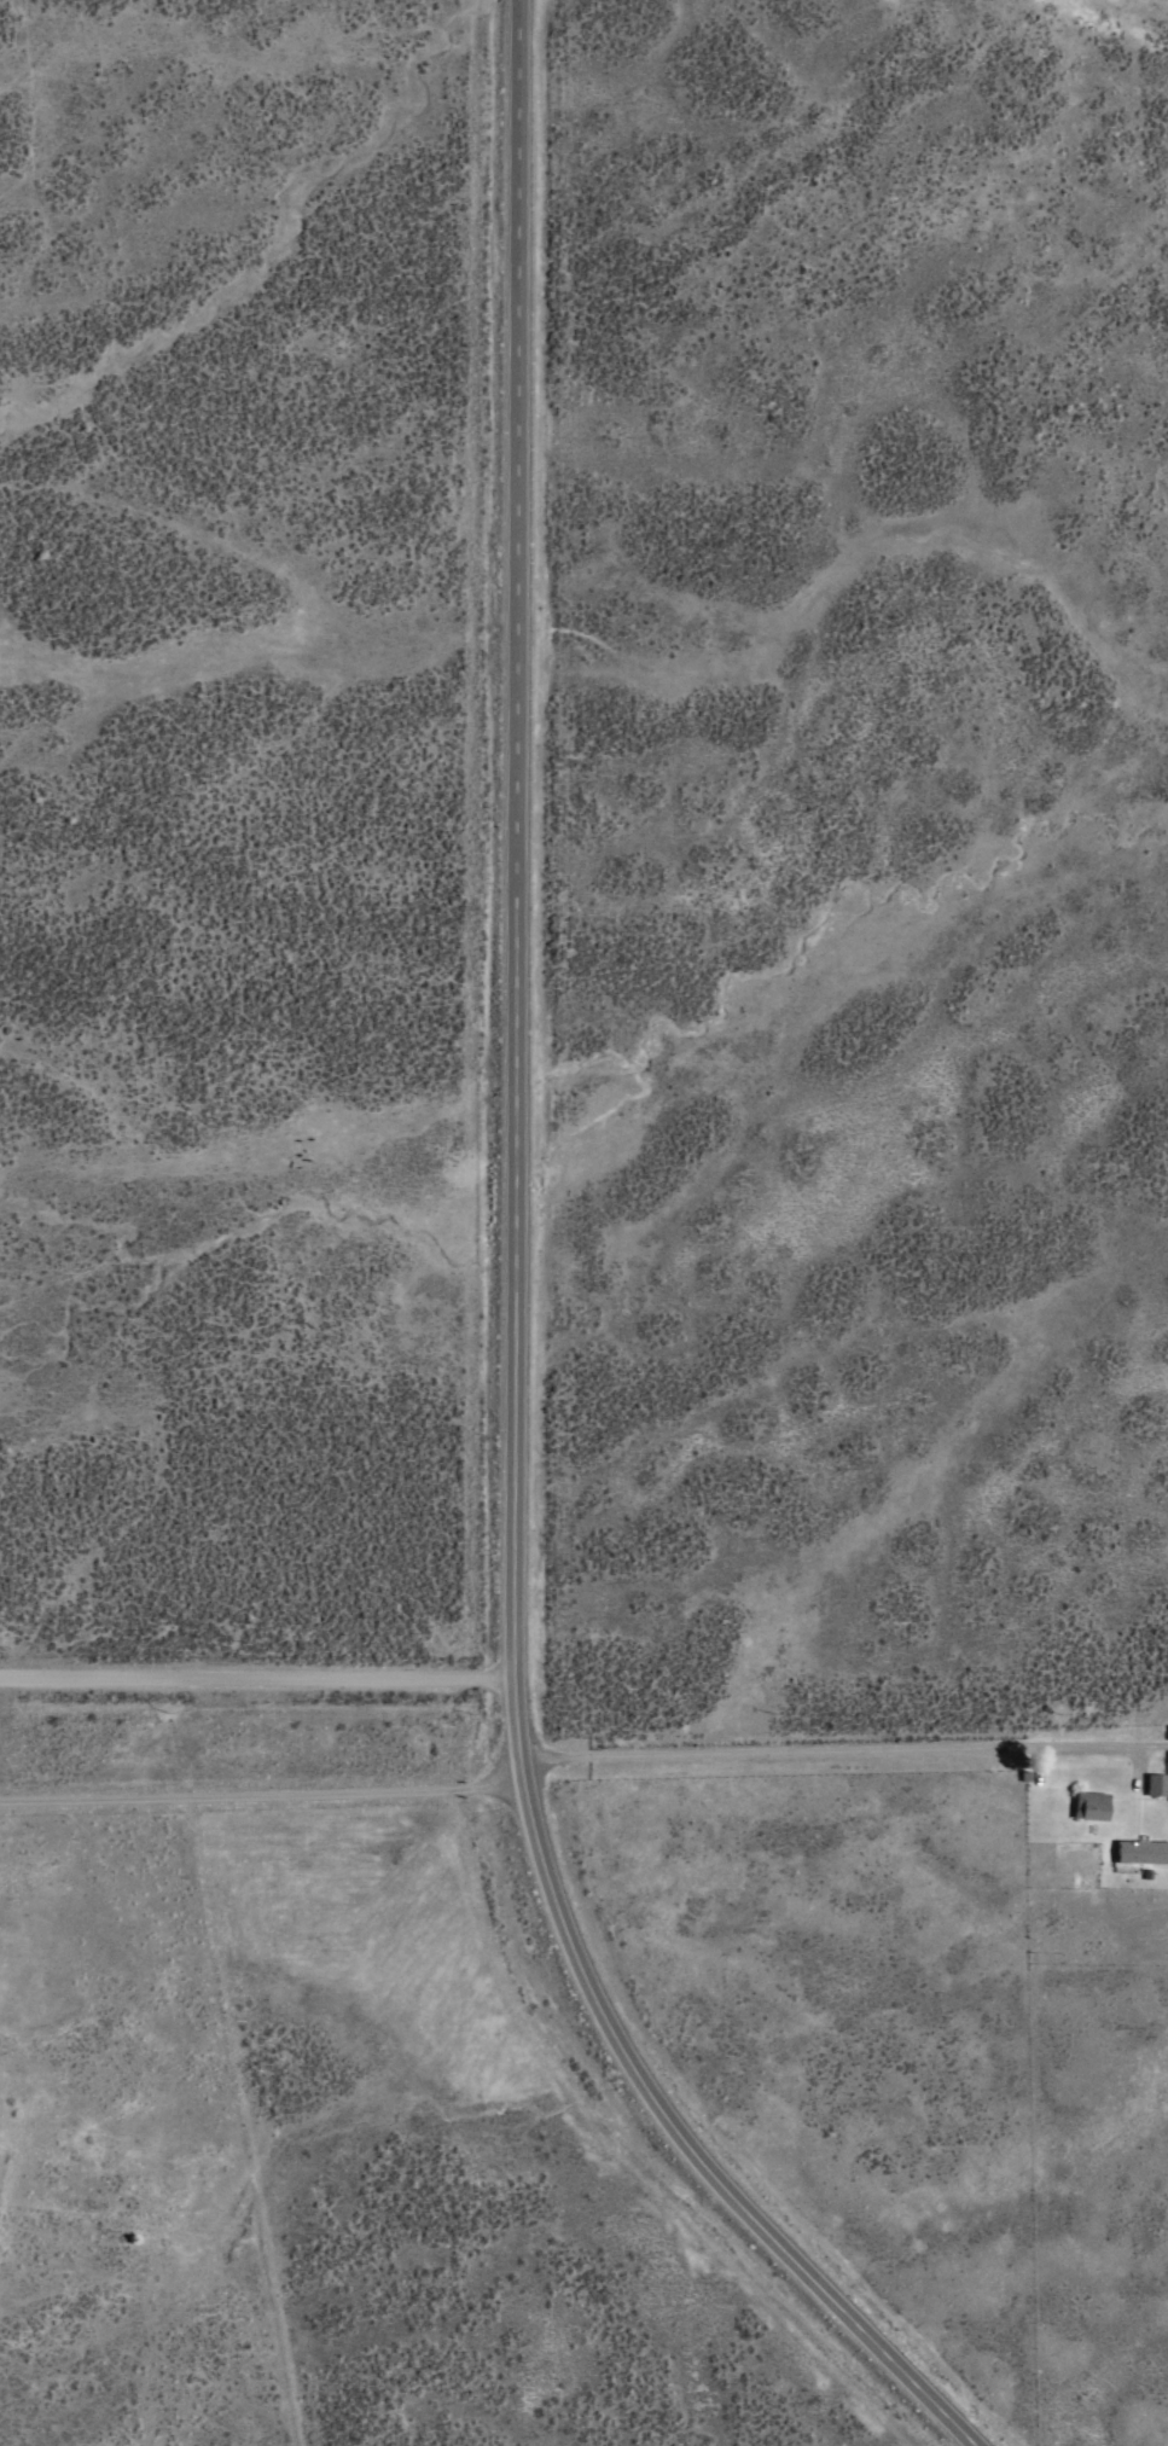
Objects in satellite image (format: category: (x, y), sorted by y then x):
crop: (635, 1045)
road: (511, 1292)
road: (255, 1706)
road: (839, 1709)
road: (262, 1794)

